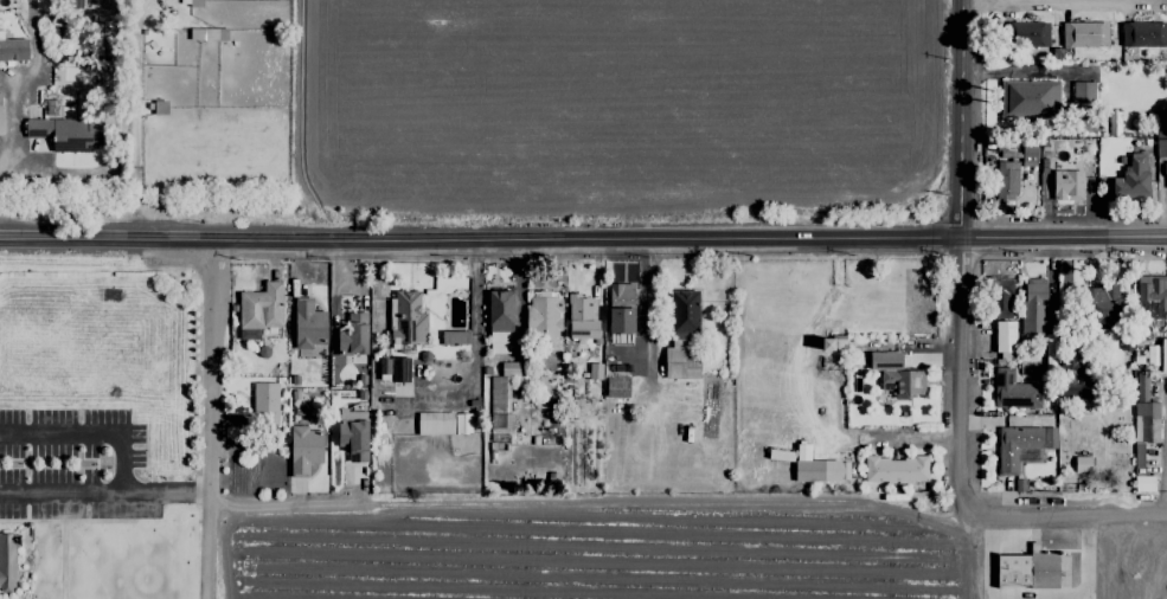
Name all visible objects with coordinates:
road: (1052, 1)
building: (81, 4)
building: (1027, 34)
building: (1084, 34)
building: (1143, 34)
building: (13, 50)
building: (1082, 92)
building: (1028, 98)
building: (1, 114)
road: (13, 127)
building: (66, 133)
building: (1028, 155)
building: (1131, 178)
building: (1006, 180)
building: (1067, 185)
road: (1064, 236)
road: (480, 241)
road: (961, 258)
building: (1152, 294)
building: (1000, 298)
building: (1033, 305)
building: (1103, 307)
building: (620, 308)
building: (259, 310)
building: (543, 316)
building: (406, 318)
building: (581, 318)
building: (499, 322)
building: (308, 326)
building: (353, 335)
building: (681, 336)
building: (1004, 336)
building: (454, 337)
building: (832, 343)
building: (1163, 356)
road: (476, 362)
building: (595, 372)
building: (896, 375)
building: (1072, 380)
building: (616, 387)
building: (1013, 391)
building: (499, 399)
building: (265, 402)
building: (1143, 418)
road: (209, 421)
building: (443, 424)
road: (88, 432)
building: (353, 434)
building: (1020, 444)
building: (303, 450)
building: (1082, 464)
building: (817, 468)
building: (895, 470)
building: (1143, 484)
road: (201, 492)
road: (97, 494)
road: (281, 502)
road: (1066, 516)
crop: (674, 553)
road: (966, 558)
road: (1134, 558)
building: (7, 562)

